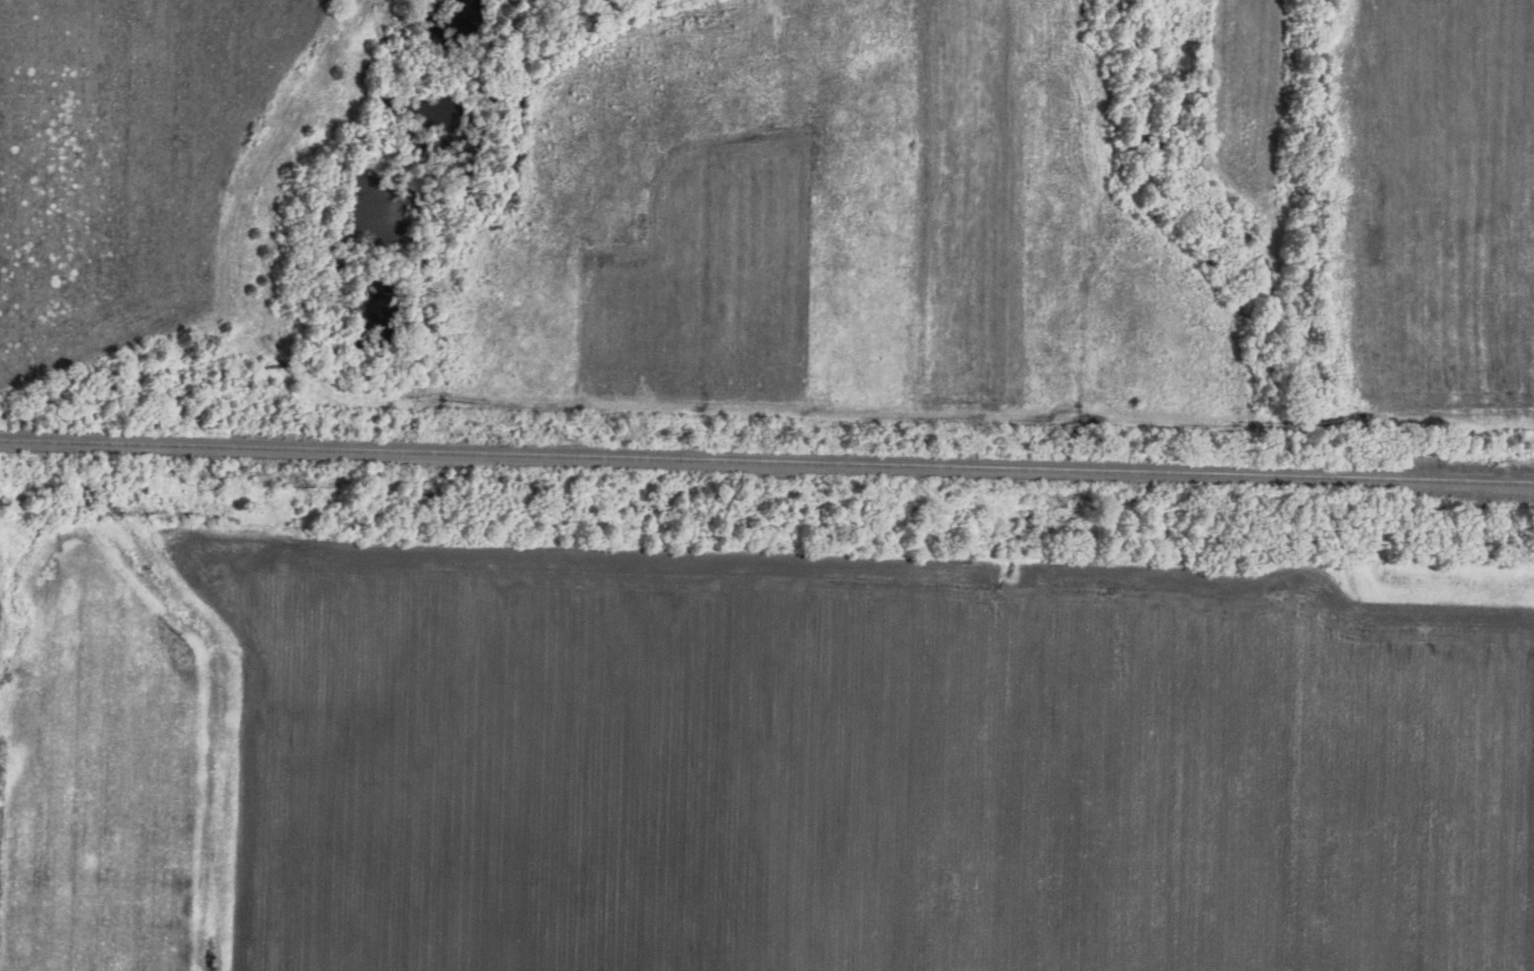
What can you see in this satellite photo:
railway: (767, 447)

